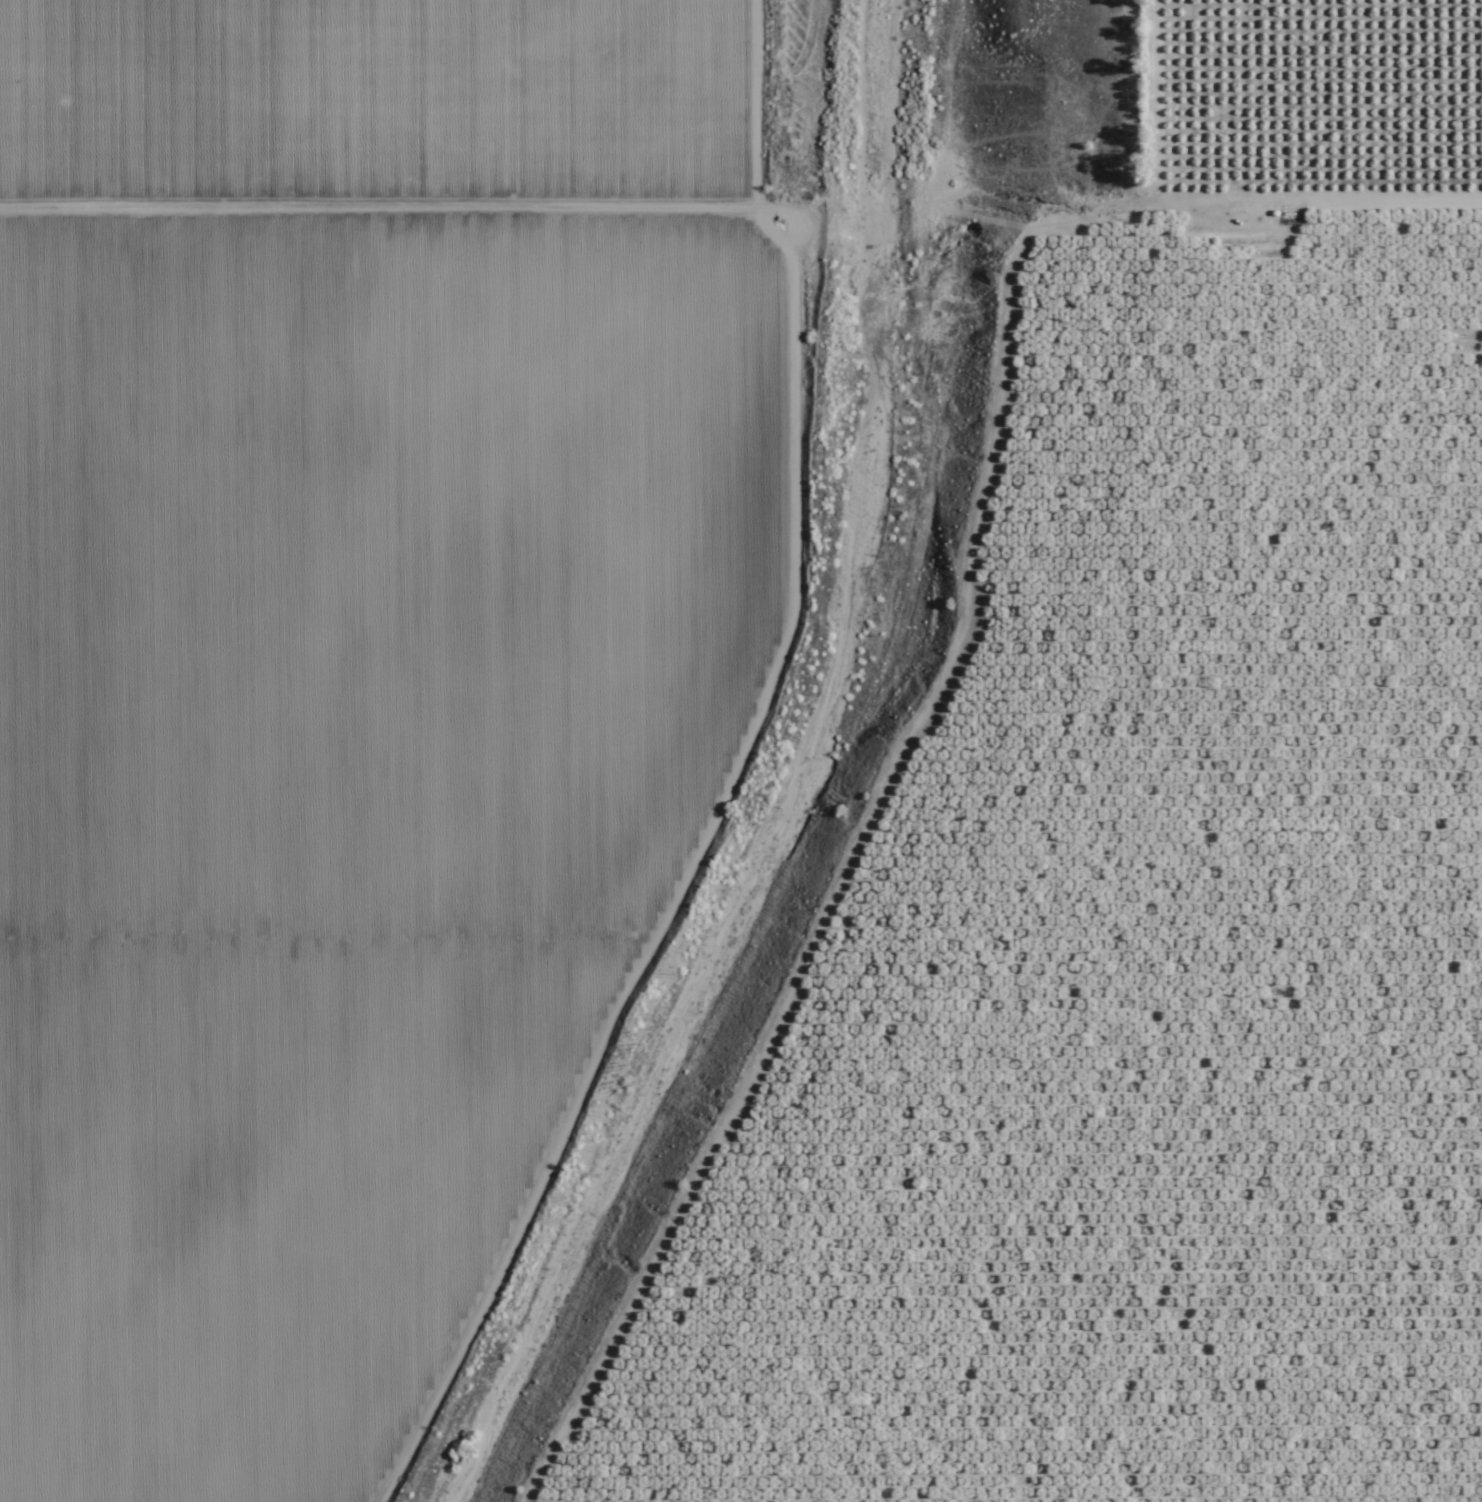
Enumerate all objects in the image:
road: (741, 198)
crop: (350, 678)
road: (741, 860)
crop: (1144, 882)

